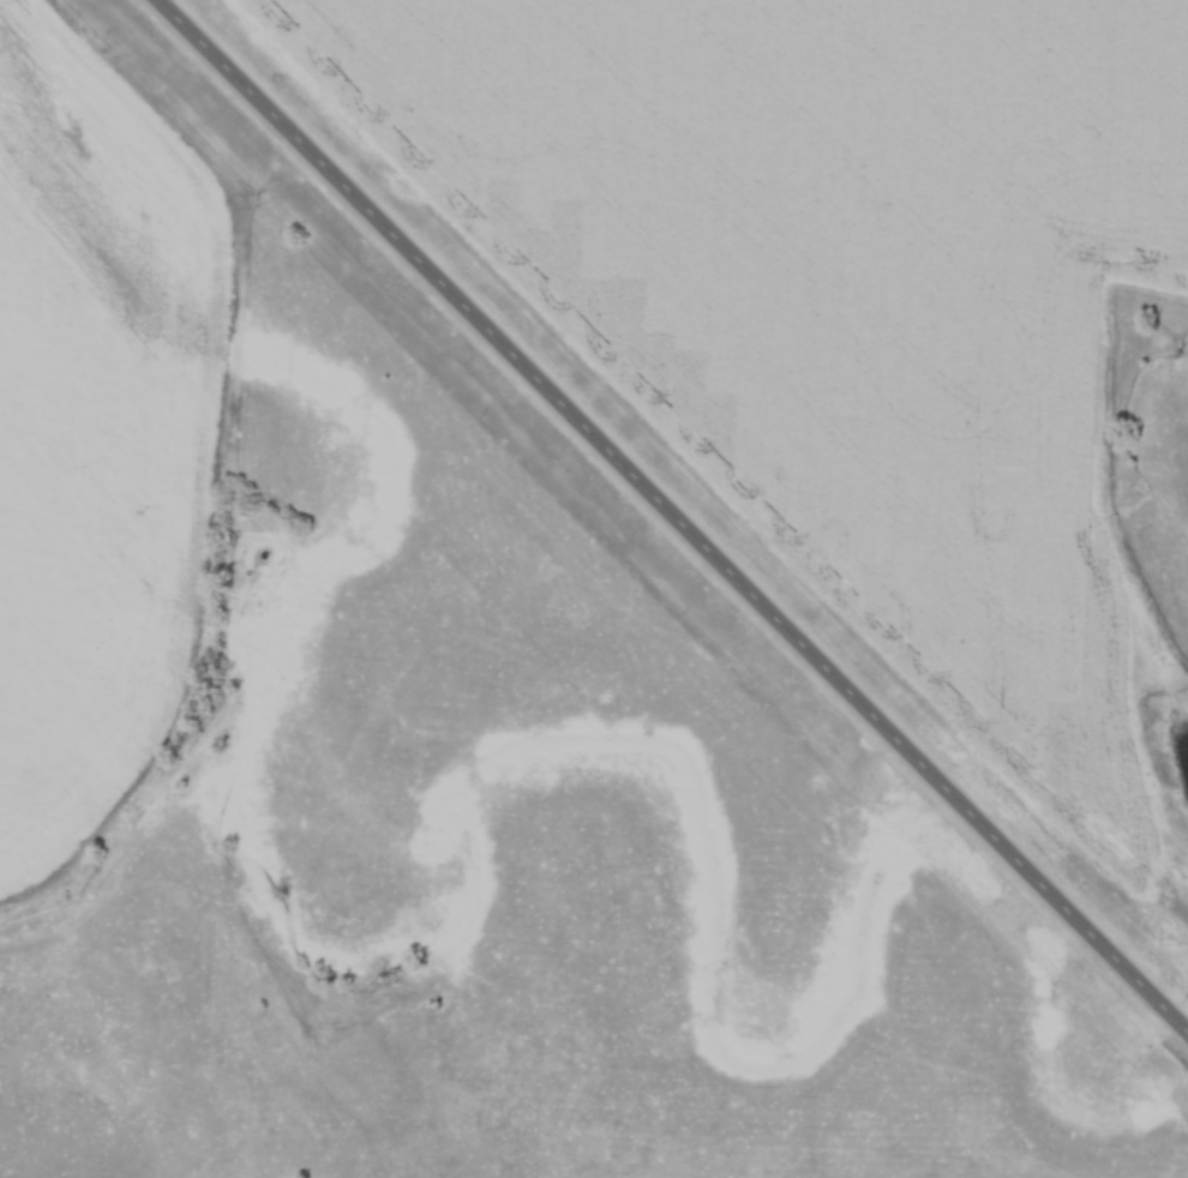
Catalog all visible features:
road: (673, 516)

